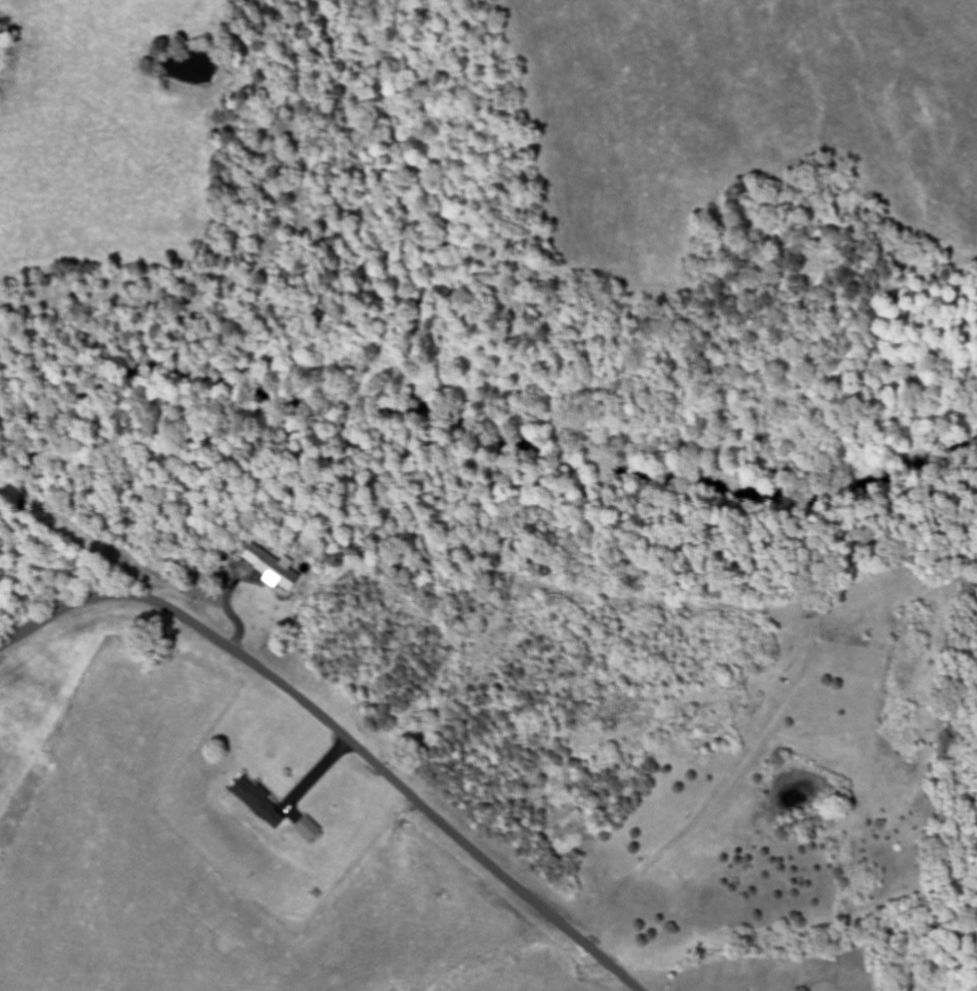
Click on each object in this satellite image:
building: (265, 568)
road: (342, 732)
building: (253, 804)

